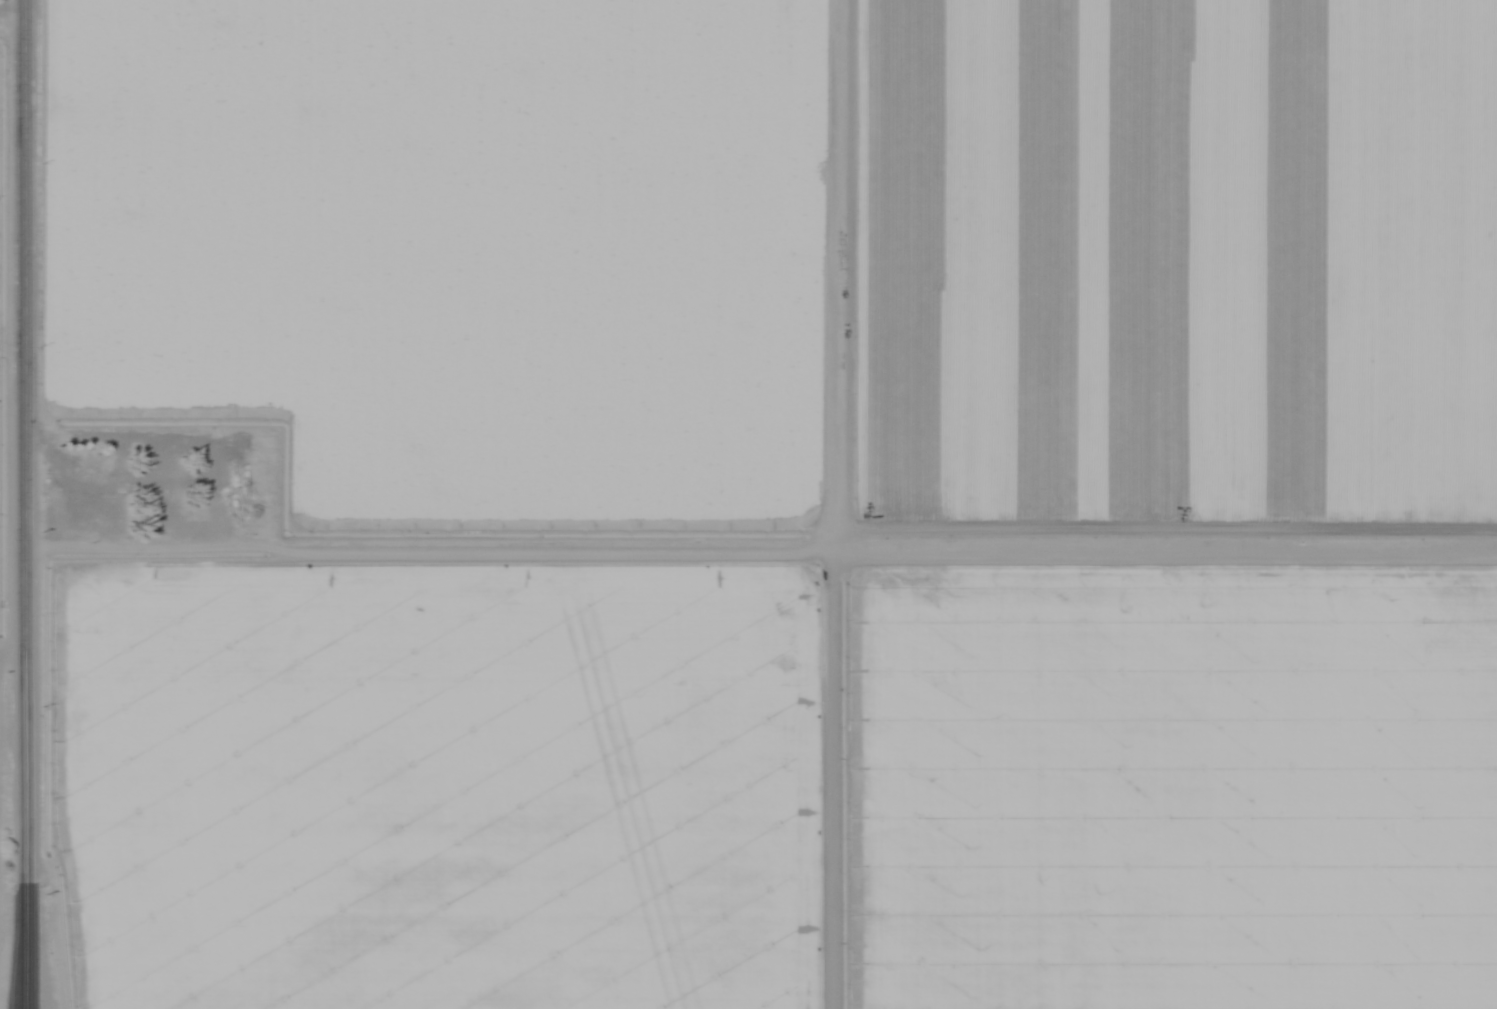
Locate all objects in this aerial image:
road: (24, 501)
road: (22, 1005)

